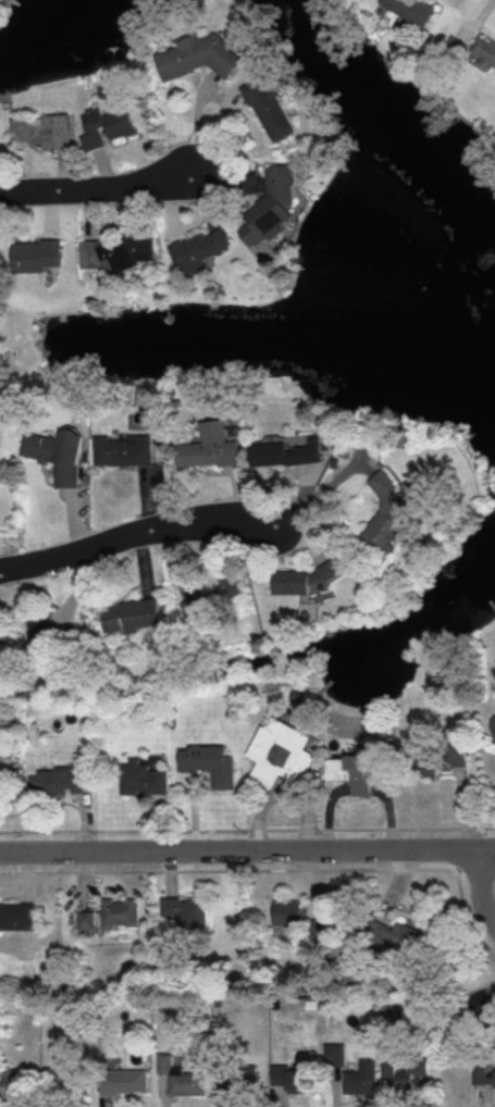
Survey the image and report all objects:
building: (412, 9)
building: (460, 50)
building: (486, 51)
building: (199, 55)
building: (271, 110)
building: (108, 127)
building: (44, 130)
road: (97, 190)
building: (276, 203)
building: (200, 249)
building: (119, 250)
building: (39, 254)
building: (211, 447)
building: (126, 450)
building: (289, 452)
building: (60, 455)
road: (319, 489)
building: (384, 514)
road: (135, 535)
building: (299, 580)
building: (215, 596)
building: (133, 615)
building: (284, 754)
building: (442, 758)
building: (212, 763)
building: (352, 770)
building: (146, 779)
building: (61, 780)
road: (247, 850)
road: (482, 887)
building: (187, 910)
building: (122, 911)
building: (289, 912)
building: (18, 916)
building: (88, 919)
building: (395, 936)
building: (336, 1054)
building: (407, 1074)
building: (182, 1077)
building: (484, 1077)
building: (236, 1078)
building: (292, 1078)
building: (363, 1078)
building: (70, 1081)
building: (126, 1081)
building: (16, 1082)

